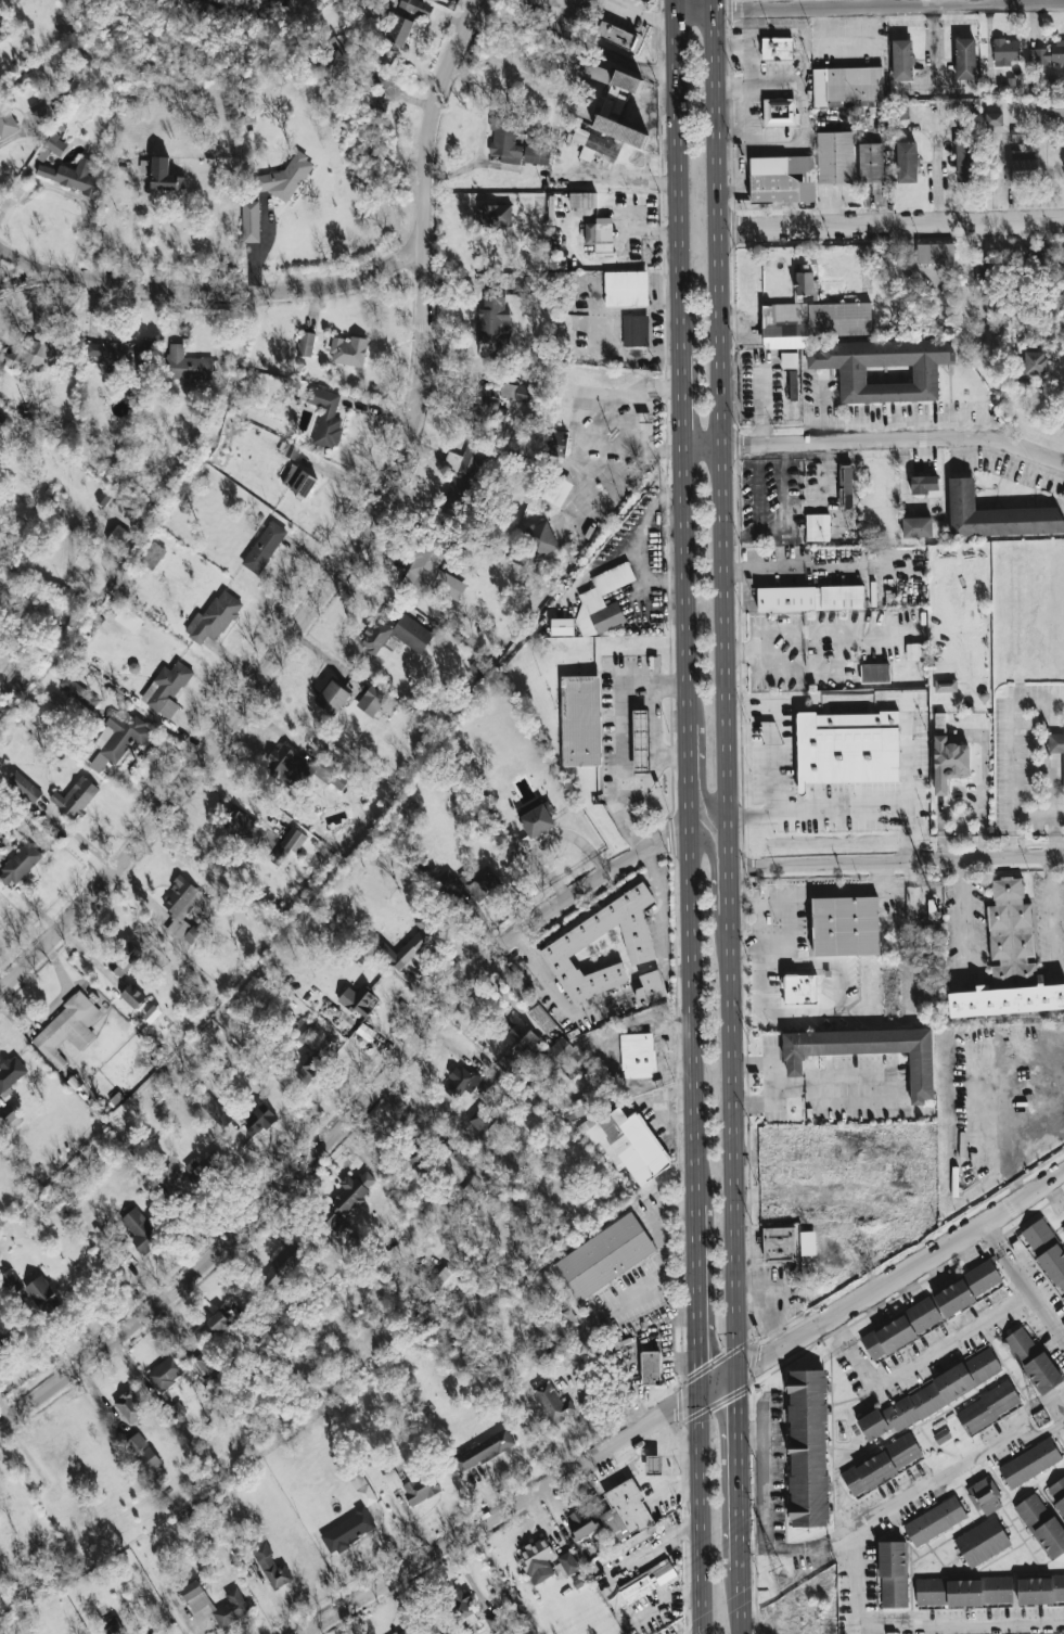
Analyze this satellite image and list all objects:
road: (869, 4)
road: (674, 5)
road: (645, 14)
building: (406, 22)
building: (616, 27)
building: (0, 39)
building: (778, 48)
road: (606, 51)
building: (1004, 51)
building: (1048, 53)
building: (965, 59)
building: (330, 60)
building: (902, 60)
building: (595, 72)
building: (627, 81)
building: (848, 87)
road: (394, 90)
building: (1055, 107)
building: (41, 111)
building: (902, 111)
building: (780, 112)
building: (995, 118)
building: (7, 120)
building: (617, 122)
building: (1017, 135)
road: (482, 136)
road: (397, 137)
building: (507, 139)
building: (55, 144)
building: (594, 144)
building: (536, 155)
building: (834, 157)
building: (965, 161)
building: (907, 162)
building: (870, 163)
building: (1024, 165)
road: (935, 168)
building: (159, 173)
building: (73, 176)
building: (285, 179)
building: (782, 179)
road: (677, 183)
road: (76, 195)
building: (582, 200)
building: (496, 215)
building: (249, 220)
road: (889, 224)
road: (133, 232)
building: (601, 235)
building: (935, 253)
building: (984, 272)
road: (26, 280)
building: (805, 283)
road: (217, 288)
building: (626, 289)
building: (495, 321)
building: (636, 330)
building: (306, 344)
building: (349, 350)
building: (102, 352)
building: (858, 352)
building: (27, 357)
building: (789, 360)
building: (1035, 362)
building: (187, 365)
building: (792, 384)
building: (515, 392)
road: (680, 400)
building: (490, 406)
road: (761, 406)
building: (325, 417)
building: (4, 422)
road: (874, 439)
building: (557, 446)
building: (462, 480)
building: (299, 481)
road: (345, 481)
building: (924, 484)
building: (845, 486)
building: (555, 489)
building: (104, 496)
building: (997, 515)
building: (832, 526)
building: (916, 526)
building: (118, 537)
building: (539, 537)
building: (265, 547)
road: (359, 549)
building: (153, 556)
building: (85, 558)
building: (432, 572)
building: (810, 598)
building: (602, 600)
building: (128, 618)
building: (214, 618)
building: (562, 626)
building: (395, 633)
road: (804, 634)
building: (915, 651)
road: (799, 672)
building: (875, 673)
road: (725, 684)
building: (946, 686)
building: (76, 689)
building: (167, 689)
building: (333, 698)
road: (1030, 699)
building: (371, 701)
building: (581, 720)
road: (748, 737)
building: (118, 738)
road: (619, 740)
building: (641, 741)
building: (1056, 744)
building: (849, 748)
road: (655, 750)
road: (704, 750)
road: (672, 756)
road: (771, 756)
building: (949, 763)
building: (306, 768)
road: (912, 780)
building: (27, 790)
building: (76, 797)
road: (820, 809)
building: (537, 820)
building: (242, 826)
road: (689, 826)
building: (287, 845)
road: (897, 859)
building: (18, 865)
building: (479, 881)
road: (655, 899)
road: (963, 907)
road: (1050, 907)
road: (716, 908)
building: (183, 909)
building: (846, 925)
building: (579, 935)
building: (409, 945)
road: (755, 946)
building: (124, 958)
building: (1010, 961)
road: (546, 976)
building: (650, 987)
building: (800, 988)
building: (132, 996)
building: (357, 1000)
building: (152, 1013)
building: (541, 1019)
building: (67, 1029)
building: (303, 1031)
building: (520, 1036)
building: (863, 1050)
building: (565, 1052)
building: (638, 1055)
building: (11, 1074)
road: (770, 1081)
building: (461, 1082)
building: (490, 1086)
building: (579, 1107)
building: (216, 1111)
building: (259, 1119)
building: (482, 1120)
road: (344, 1124)
building: (627, 1144)
building: (418, 1153)
building: (465, 1160)
building: (354, 1190)
building: (333, 1221)
building: (1063, 1226)
building: (141, 1230)
building: (780, 1242)
building: (807, 1242)
building: (1047, 1250)
building: (605, 1256)
building: (281, 1267)
road: (903, 1273)
building: (446, 1279)
building: (11, 1280)
road: (1024, 1282)
building: (965, 1289)
building: (43, 1293)
road: (700, 1298)
building: (219, 1324)
building: (901, 1329)
building: (3, 1343)
road: (623, 1345)
road: (918, 1356)
building: (1033, 1359)
building: (205, 1363)
building: (653, 1367)
traffic signals: (741, 1367)
building: (166, 1371)
traffic signals: (702, 1389)
building: (931, 1395)
building: (552, 1403)
building: (129, 1406)
road: (1037, 1406)
building: (988, 1407)
building: (176, 1410)
power tower: (1041, 1416)
road: (1044, 1428)
building: (943, 1435)
road: (1002, 1442)
building: (808, 1447)
building: (484, 1451)
building: (142, 1453)
building: (1029, 1463)
building: (654, 1465)
building: (882, 1465)
road: (740, 1469)
building: (392, 1480)
building: (421, 1488)
building: (1057, 1493)
building: (985, 1496)
road: (518, 1498)
road: (910, 1499)
road: (703, 1511)
road: (762, 1511)
building: (626, 1518)
building: (0, 1520)
building: (935, 1521)
building: (581, 1522)
building: (1042, 1524)
building: (347, 1531)
building: (982, 1542)
building: (537, 1560)
building: (568, 1562)
building: (271, 1566)
building: (893, 1574)
power tower: (782, 1575)
building: (646, 1582)
building: (1040, 1590)
building: (964, 1592)
building: (195, 1596)
road: (742, 1603)
building: (461, 1604)
building: (231, 1608)
building: (495, 1621)
road: (911, 1623)
building: (113, 1627)
building: (402, 1632)

